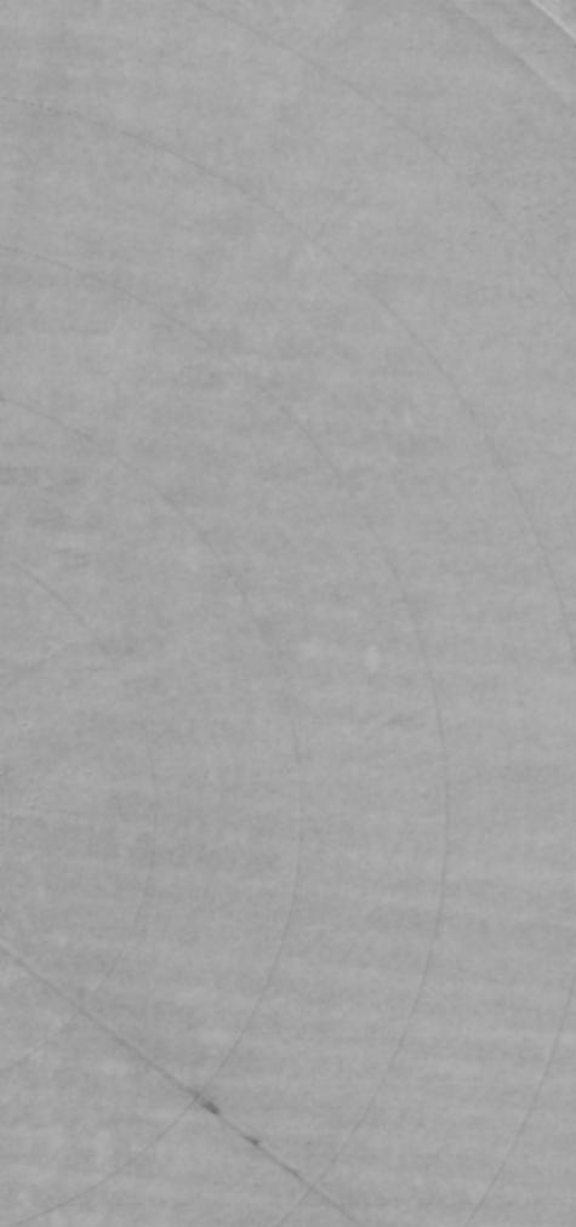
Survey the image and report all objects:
crop: (287, 613)

